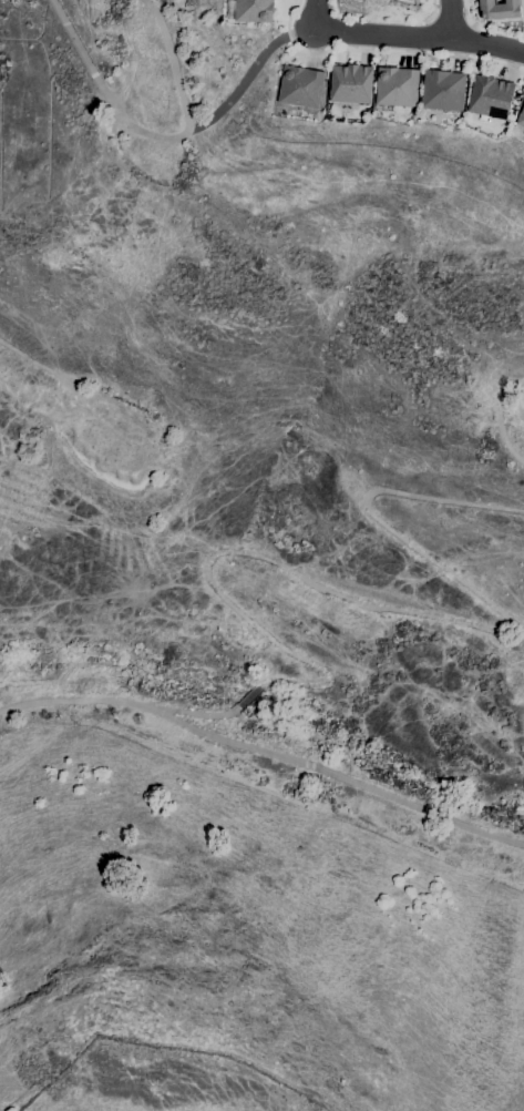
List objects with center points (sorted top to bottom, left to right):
building: (500, 9)
building: (250, 11)
road: (316, 14)
road: (432, 14)
road: (468, 17)
road: (450, 20)
road: (421, 37)
road: (383, 52)
road: (247, 72)
building: (350, 83)
building: (300, 86)
building: (397, 86)
building: (443, 90)
building: (491, 96)
building: (521, 118)
road: (154, 136)
road: (35, 365)
road: (499, 419)
park: (260, 431)
road: (404, 611)
road: (248, 696)
road: (20, 706)
road: (192, 712)
road: (285, 757)

